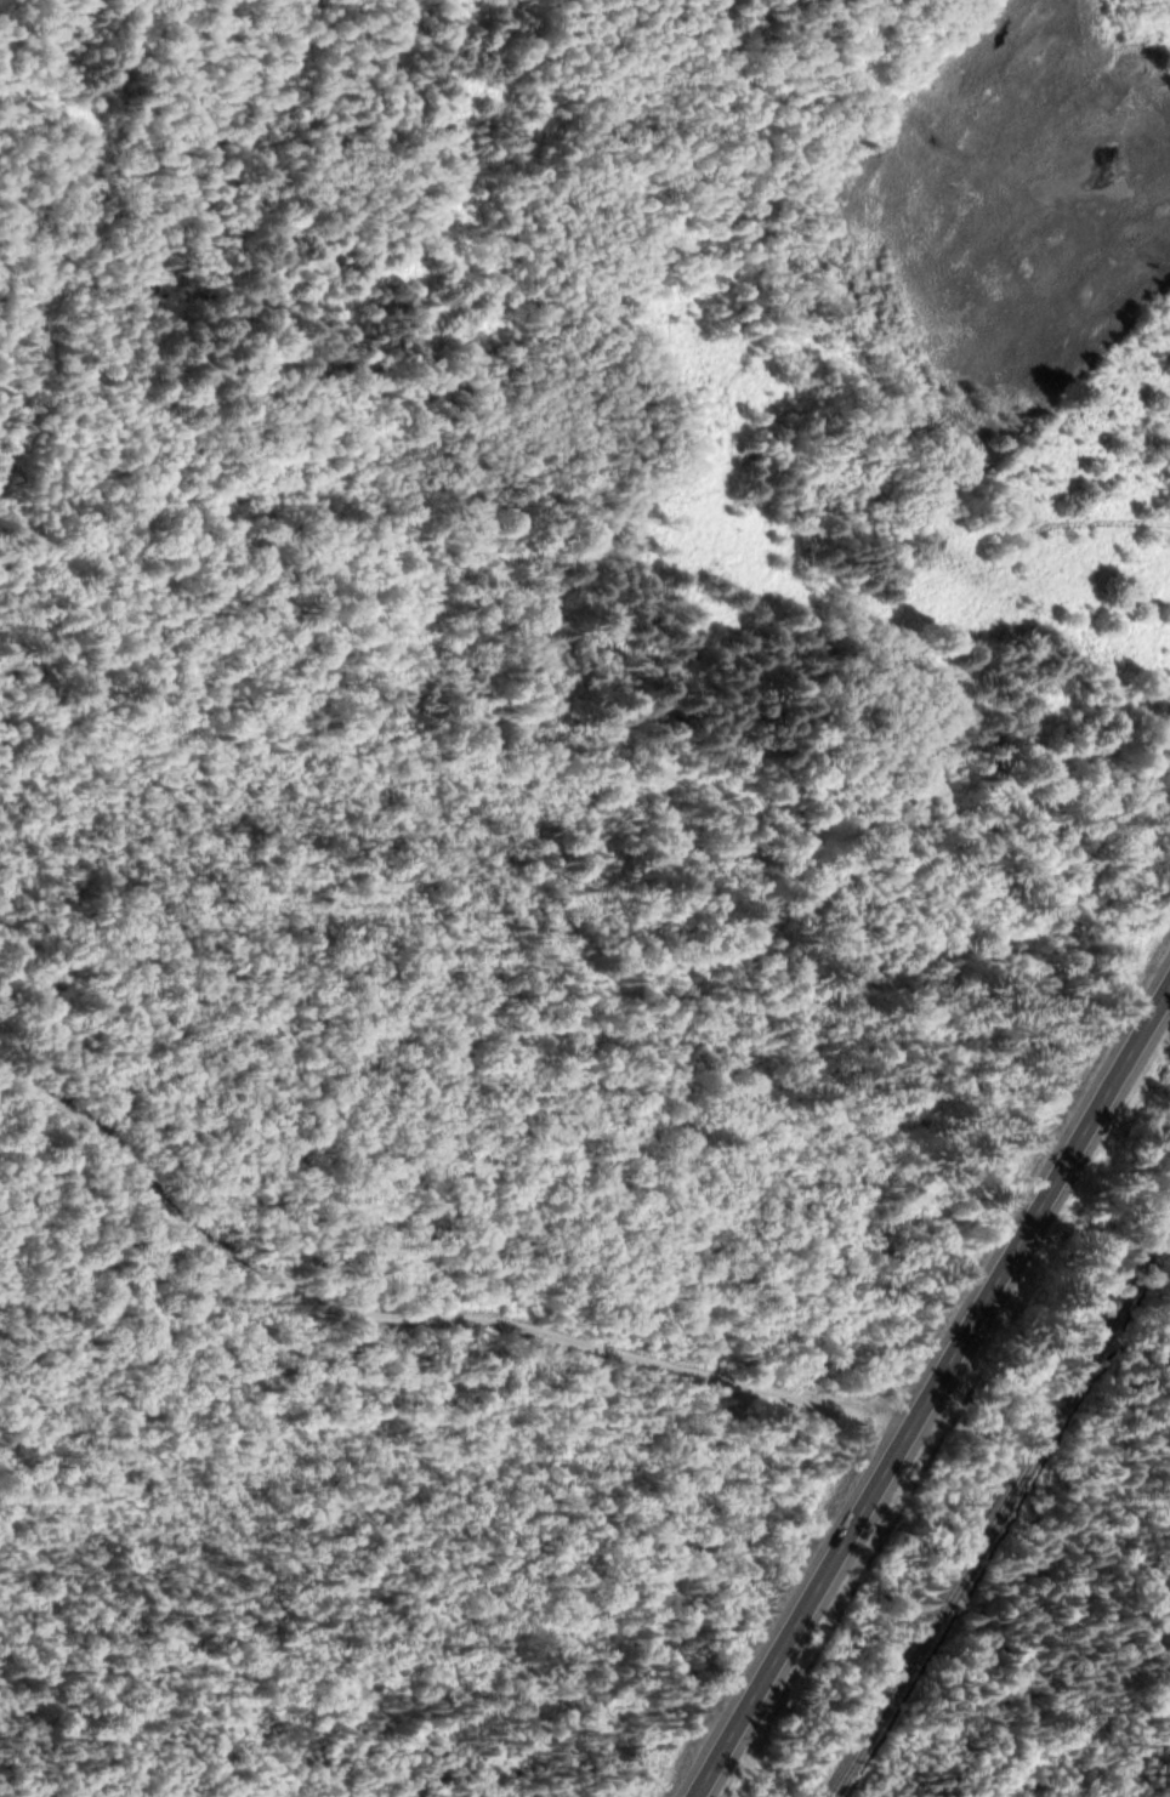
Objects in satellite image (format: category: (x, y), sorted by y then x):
road: (413, 1318)
road: (927, 1384)
railway: (1001, 1511)

